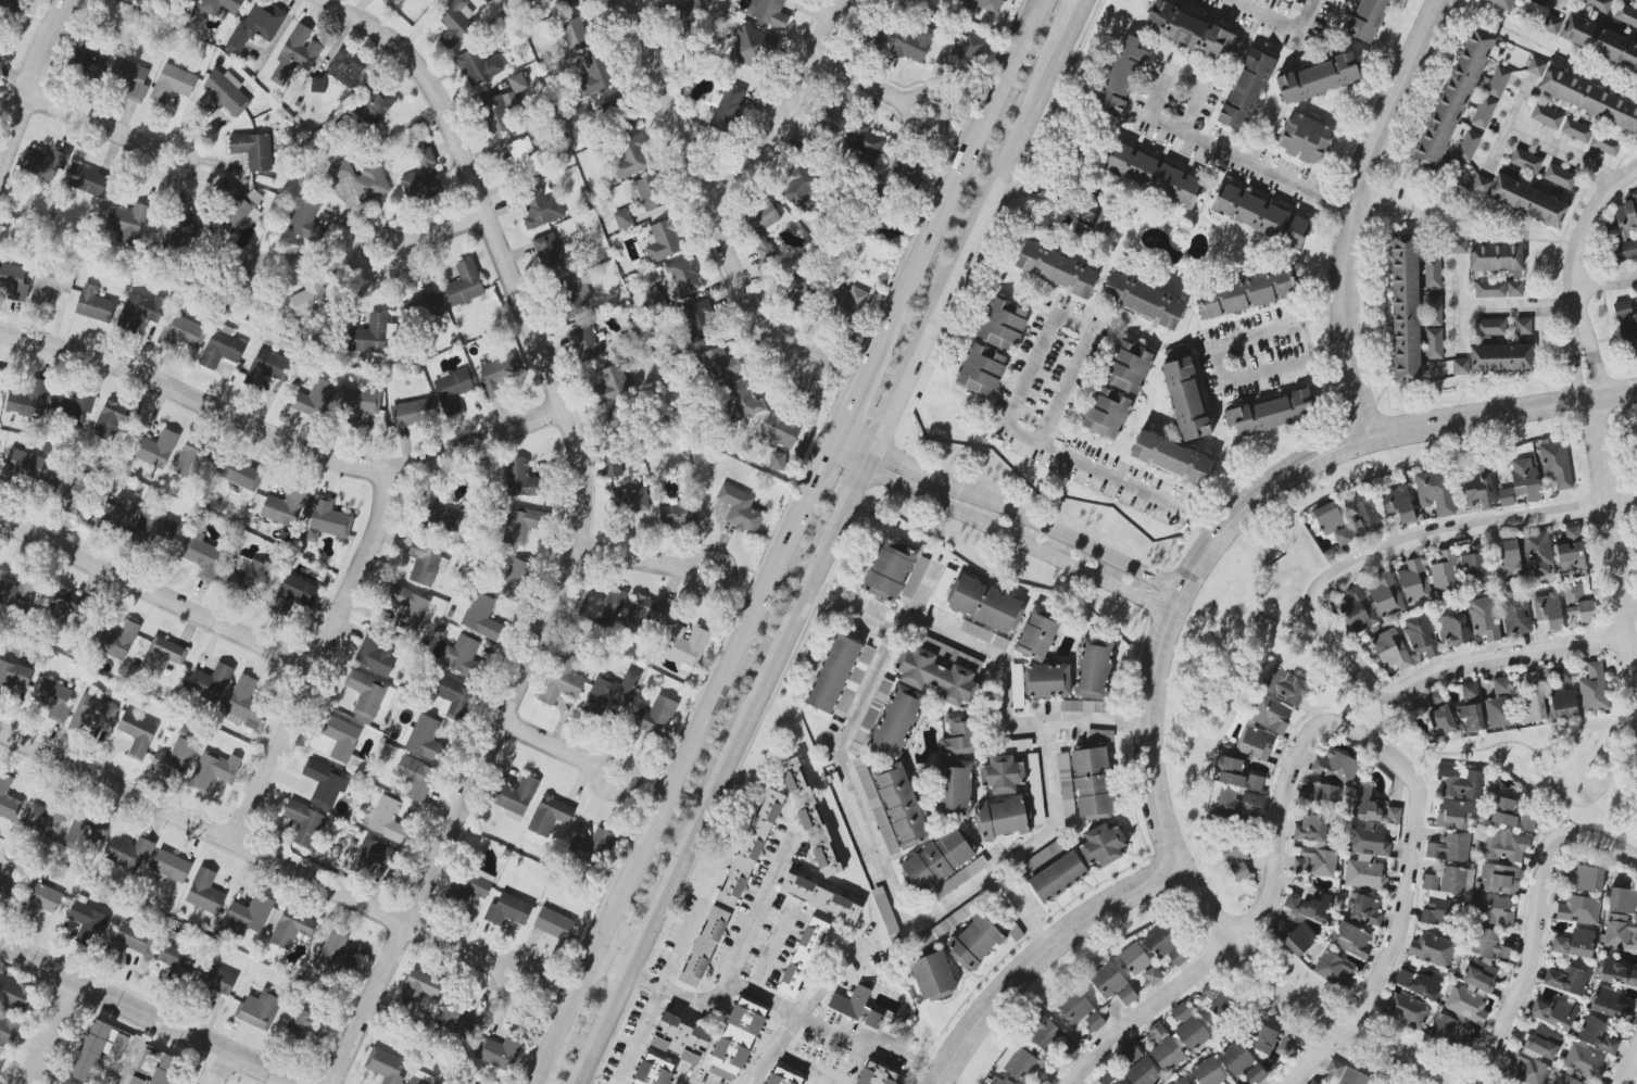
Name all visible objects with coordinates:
building: (1296, 0)
building: (1544, 1)
building: (388, 2)
building: (570, 3)
building: (1503, 3)
building: (12, 4)
building: (1598, 4)
building: (222, 5)
building: (982, 5)
road: (1562, 8)
building: (768, 12)
building: (688, 13)
building: (1626, 15)
building: (1368, 20)
road: (1279, 21)
building: (456, 22)
road: (1070, 24)
building: (1551, 24)
building: (256, 25)
building: (1191, 31)
building: (575, 35)
building: (876, 37)
building: (912, 42)
building: (1600, 42)
building: (751, 46)
building: (959, 53)
building: (295, 54)
building: (88, 58)
building: (477, 66)
building: (1535, 66)
building: (344, 68)
building: (596, 75)
building: (1121, 76)
building: (129, 78)
building: (1318, 78)
road: (35, 81)
building: (1498, 81)
road: (857, 83)
building: (173, 84)
building: (1246, 90)
building: (224, 94)
building: (1589, 98)
building: (1453, 100)
building: (375, 104)
building: (504, 105)
building: (728, 108)
road: (788, 110)
building: (1484, 112)
building: (583, 116)
building: (1546, 116)
building: (828, 119)
road: (904, 119)
road: (90, 123)
road: (1507, 124)
building: (1576, 130)
building: (1305, 138)
road: (1173, 141)
building: (864, 142)
building: (1604, 144)
building: (1468, 147)
building: (253, 150)
road: (1560, 153)
building: (631, 157)
road: (1067, 157)
building: (520, 160)
building: (1525, 161)
building: (43, 163)
road: (152, 163)
building: (907, 171)
building: (1154, 175)
building: (1559, 177)
building: (423, 178)
building: (86, 179)
building: (362, 179)
road: (702, 181)
building: (1482, 186)
building: (801, 189)
building: (647, 193)
building: (1528, 201)
building: (235, 204)
road: (1384, 204)
building: (542, 207)
road: (1348, 211)
building: (1260, 216)
building: (622, 218)
building: (305, 219)
building: (1093, 220)
building: (127, 223)
building: (760, 226)
building: (177, 230)
building: (1623, 230)
road: (440, 231)
building: (663, 241)
building: (1457, 245)
building: (550, 253)
road: (398, 257)
building: (1495, 259)
building: (1057, 268)
building: (1433, 273)
road: (1574, 273)
building: (682, 276)
building: (13, 281)
building: (51, 282)
road: (1605, 282)
building: (465, 283)
building: (801, 287)
building: (1499, 289)
building: (311, 292)
building: (1246, 293)
building: (575, 298)
building: (1144, 300)
building: (1636, 300)
building: (847, 303)
building: (95, 304)
road: (1456, 304)
road: (1515, 307)
building: (424, 308)
building: (1406, 310)
building: (140, 311)
building: (1433, 311)
building: (700, 320)
building: (1523, 326)
building: (1627, 327)
building: (1490, 328)
building: (182, 332)
building: (373, 335)
building: (584, 342)
building: (1434, 343)
building: (992, 346)
building: (223, 348)
road: (789, 354)
road: (1218, 360)
building: (1495, 360)
building: (720, 364)
building: (267, 367)
building: (500, 371)
building: (1, 374)
building: (612, 382)
building: (452, 390)
building: (1117, 390)
building: (27, 398)
building: (1186, 399)
building: (315, 400)
building: (361, 401)
building: (742, 402)
building: (71, 407)
road: (1013, 408)
road: (1612, 408)
building: (412, 413)
building: (1272, 413)
road: (1503, 414)
building: (622, 419)
building: (110, 420)
building: (780, 430)
road: (280, 441)
building: (155, 449)
road: (844, 452)
building: (1173, 458)
building: (190, 459)
building: (777, 462)
building: (1556, 463)
building: (21, 466)
building: (613, 467)
park: (1627, 470)
building: (241, 474)
building: (524, 480)
building: (1521, 482)
building: (72, 487)
building: (1479, 488)
building: (1435, 491)
building: (630, 501)
building: (1398, 503)
building: (285, 506)
building: (740, 509)
road: (1621, 511)
building: (441, 513)
building: (119, 514)
building: (1362, 514)
road: (1019, 515)
building: (677, 516)
building: (328, 520)
building: (522, 524)
building: (1332, 524)
building: (153, 527)
road: (580, 528)
road: (1431, 535)
road: (780, 540)
road: (1007, 542)
road: (1610, 547)
building: (1571, 552)
building: (1537, 554)
building: (202, 556)
road: (633, 558)
building: (1509, 558)
building: (424, 564)
road: (815, 564)
building: (889, 570)
building: (1460, 570)
building: (915, 577)
building: (251, 578)
road: (694, 579)
building: (515, 580)
building: (1414, 582)
building: (18, 593)
building: (294, 594)
building: (1385, 594)
road: (921, 595)
road: (156, 597)
building: (1578, 603)
building: (984, 604)
road: (1166, 605)
building: (66, 607)
building: (603, 607)
building: (408, 608)
building: (1359, 610)
building: (1548, 610)
building: (643, 614)
building: (1515, 615)
building: (478, 616)
building: (1484, 617)
building: (1452, 626)
building: (982, 634)
building: (1037, 634)
building: (1422, 635)
building: (115, 640)
building: (685, 644)
building: (1390, 650)
building: (375, 654)
road: (992, 655)
building: (162, 656)
building: (462, 656)
road: (319, 661)
road: (1464, 665)
building: (1094, 668)
building: (833, 673)
building: (1565, 675)
building: (13, 677)
building: (936, 677)
building: (562, 679)
building: (1532, 679)
building: (854, 681)
building: (1048, 681)
building: (210, 682)
building: (1017, 685)
building: (1286, 686)
building: (1594, 688)
building: (610, 692)
building: (368, 696)
building: (453, 697)
building: (53, 698)
building: (1434, 699)
building: (244, 704)
building: (1499, 705)
building: (1529, 708)
building: (1470, 709)
building: (92, 711)
building: (655, 716)
building: (1441, 720)
building: (896, 722)
building: (1263, 729)
building: (138, 734)
building: (959, 736)
building: (1100, 736)
building: (424, 738)
building: (343, 742)
road: (549, 743)
building: (175, 758)
road: (1049, 761)
building: (1336, 767)
building: (1063, 768)
building: (213, 770)
building: (1002, 774)
building: (1238, 776)
building: (416, 777)
road: (594, 782)
building: (1092, 782)
building: (325, 783)
building: (954, 789)
building: (1318, 795)
building: (1365, 795)
building: (516, 797)
building: (8, 799)
building: (1237, 804)
building: (894, 807)
building: (1453, 815)
building: (1510, 815)
building: (550, 816)
building: (809, 818)
building: (1004, 818)
building: (43, 820)
building: (388, 820)
road: (868, 821)
building: (304, 823)
building: (1311, 829)
building: (86, 831)
building: (595, 845)
building: (1103, 845)
building: (751, 847)
building: (1450, 848)
building: (126, 855)
road: (261, 857)
building: (372, 857)
building: (1367, 857)
building: (1236, 859)
building: (937, 860)
building: (1515, 861)
building: (1315, 862)
building: (169, 867)
building: (1058, 877)
building: (958, 879)
building: (1586, 879)
building: (473, 884)
building: (5, 892)
building: (204, 892)
building: (1444, 894)
building: (820, 897)
building: (40, 899)
building: (1622, 900)
building: (1308, 905)
building: (1494, 909)
building: (511, 910)
building: (1365, 910)
building: (1578, 910)
road: (1261, 912)
building: (247, 916)
road: (756, 917)
building: (87, 922)
building: (554, 923)
road: (1403, 923)
road: (1538, 923)
building: (292, 929)
building: (1280, 930)
building: (1620, 933)
building: (129, 940)
building: (1299, 941)
building: (1352, 941)
building: (974, 942)
building: (1574, 943)
building: (1488, 944)
building: (705, 946)
building: (1164, 946)
road: (677, 947)
building: (1432, 949)
road: (773, 953)
road: (1038, 954)
building: (337, 955)
building: (803, 958)
building: (1134, 958)
building: (1335, 970)
building: (1616, 973)
building: (1481, 974)
building: (1153, 975)
building: (933, 976)
building: (216, 979)
building: (1567, 980)
building: (1112, 983)
building: (1420, 983)
building: (418, 988)
building: (15, 994)
building: (1209, 994)
road: (1298, 996)
road: (697, 1000)
building: (1609, 1004)
building: (1465, 1005)
building: (1075, 1006)
building: (856, 1007)
building: (1224, 1007)
road: (806, 1008)
building: (259, 1009)
building: (1407, 1010)
building: (1554, 1013)
road: (147, 1014)
building: (457, 1021)
building: (1095, 1021)
building: (306, 1025)
building: (1189, 1028)
building: (1447, 1030)
building: (8, 1032)
road: (53, 1032)
road: (638, 1034)
building: (1155, 1034)
road: (849, 1035)
building: (1597, 1035)
building: (681, 1038)
building: (1050, 1039)
building: (1264, 1039)
building: (736, 1041)
building: (1286, 1046)
building: (98, 1049)
building: (502, 1050)
building: (1168, 1054)
building: (1534, 1057)
building: (1235, 1058)
building: (1, 1061)
building: (1583, 1061)
road: (127, 1063)
building: (1019, 1064)
building: (385, 1066)
building: (1137, 1067)
road: (221, 1069)
road: (1629, 1069)
building: (166, 1070)
road: (805, 1070)
building: (653, 1071)
building: (1208, 1072)
building: (1346, 1073)
building: (876, 1074)
building: (1255, 1074)
building: (1046, 1075)
building: (783, 1077)
building: (1108, 1077)
road: (268, 1079)
building: (1564, 1080)
building: (998, 1081)
building: (1181, 1081)
building: (1313, 1083)

